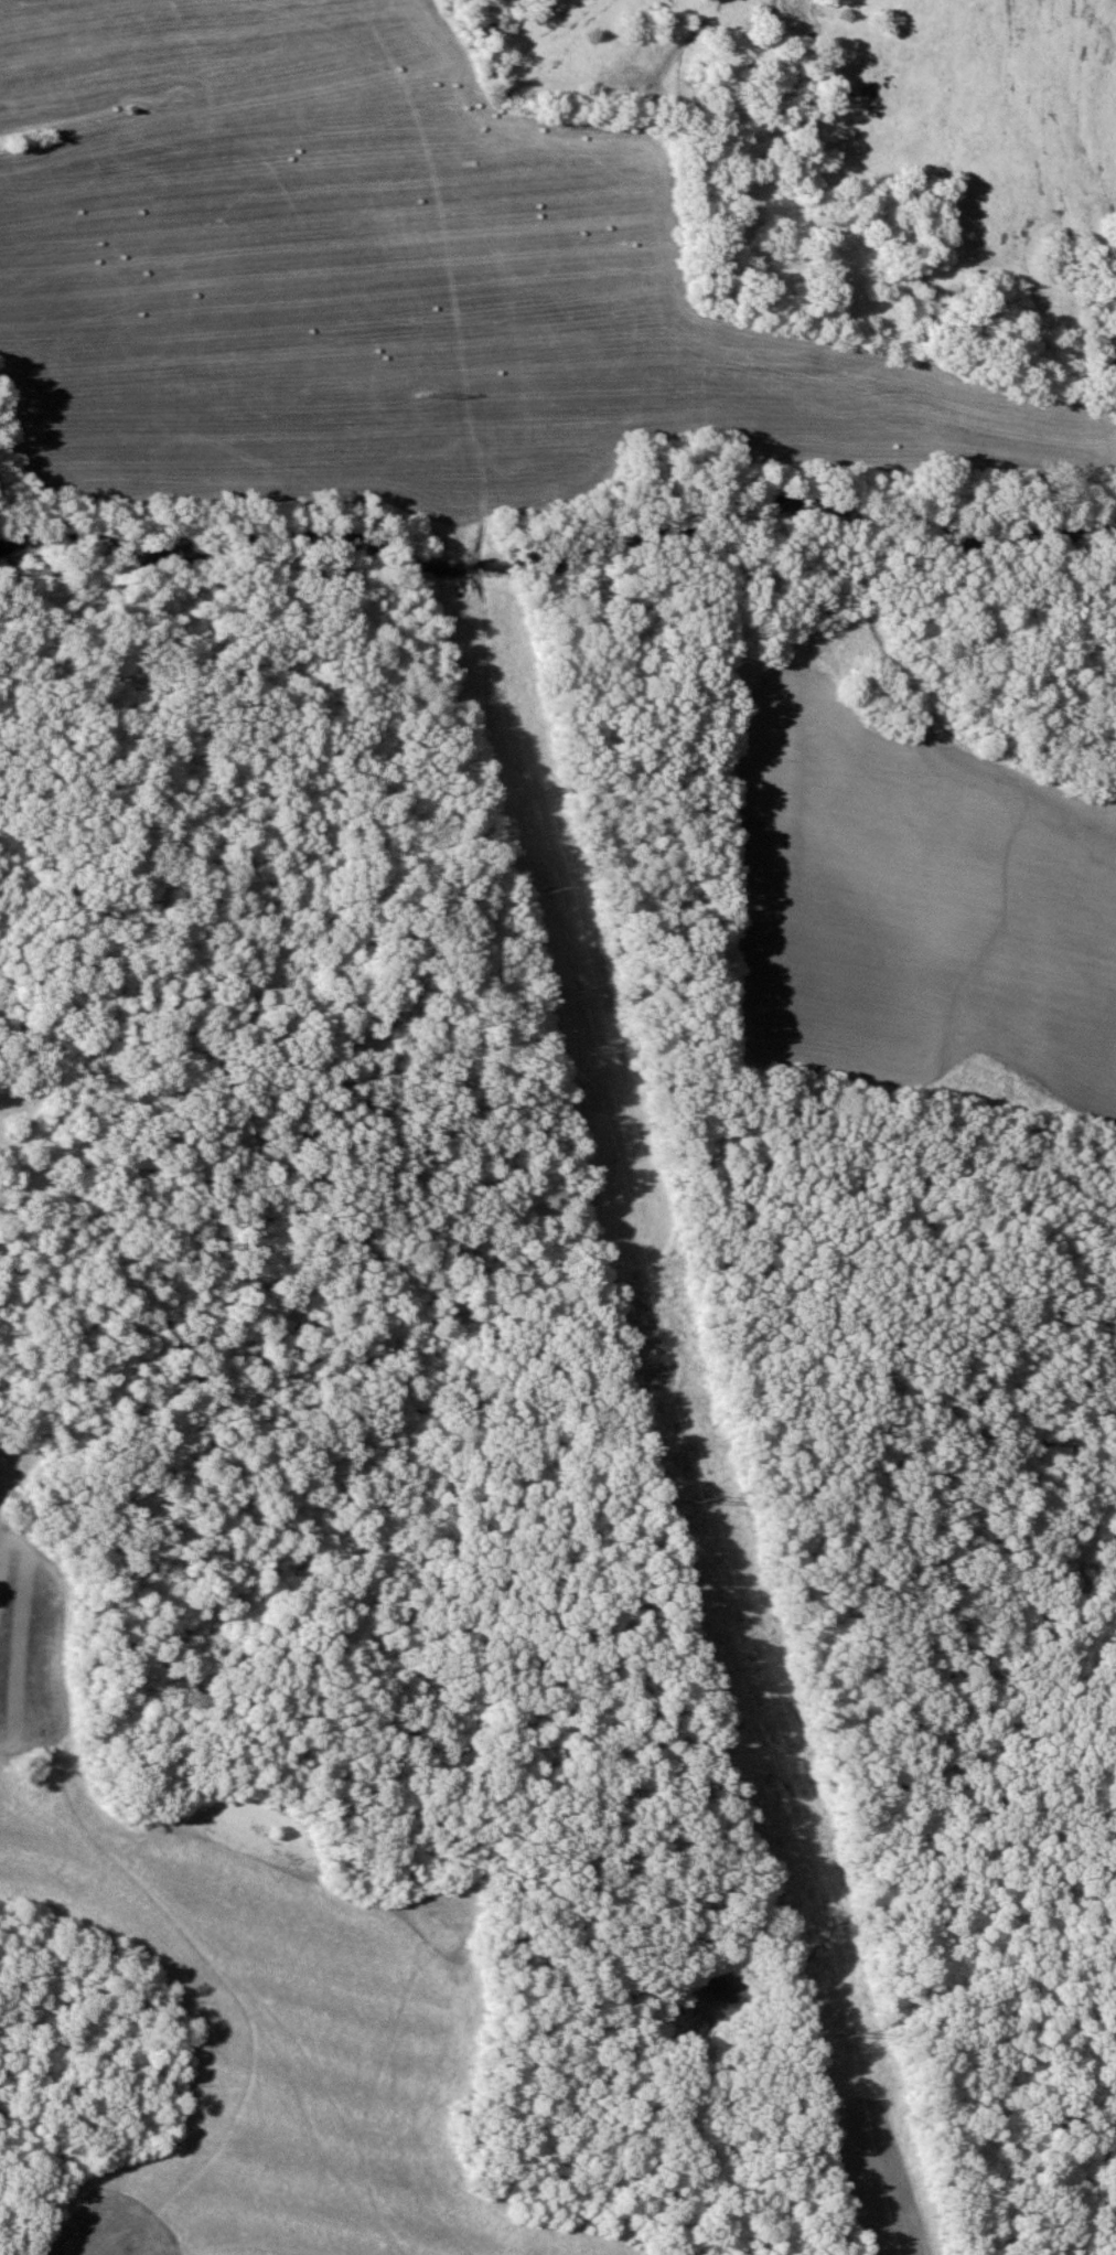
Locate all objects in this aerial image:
power tower: (438, 386)
power tower: (560, 888)
power tower: (710, 1499)
power tower: (856, 2034)

